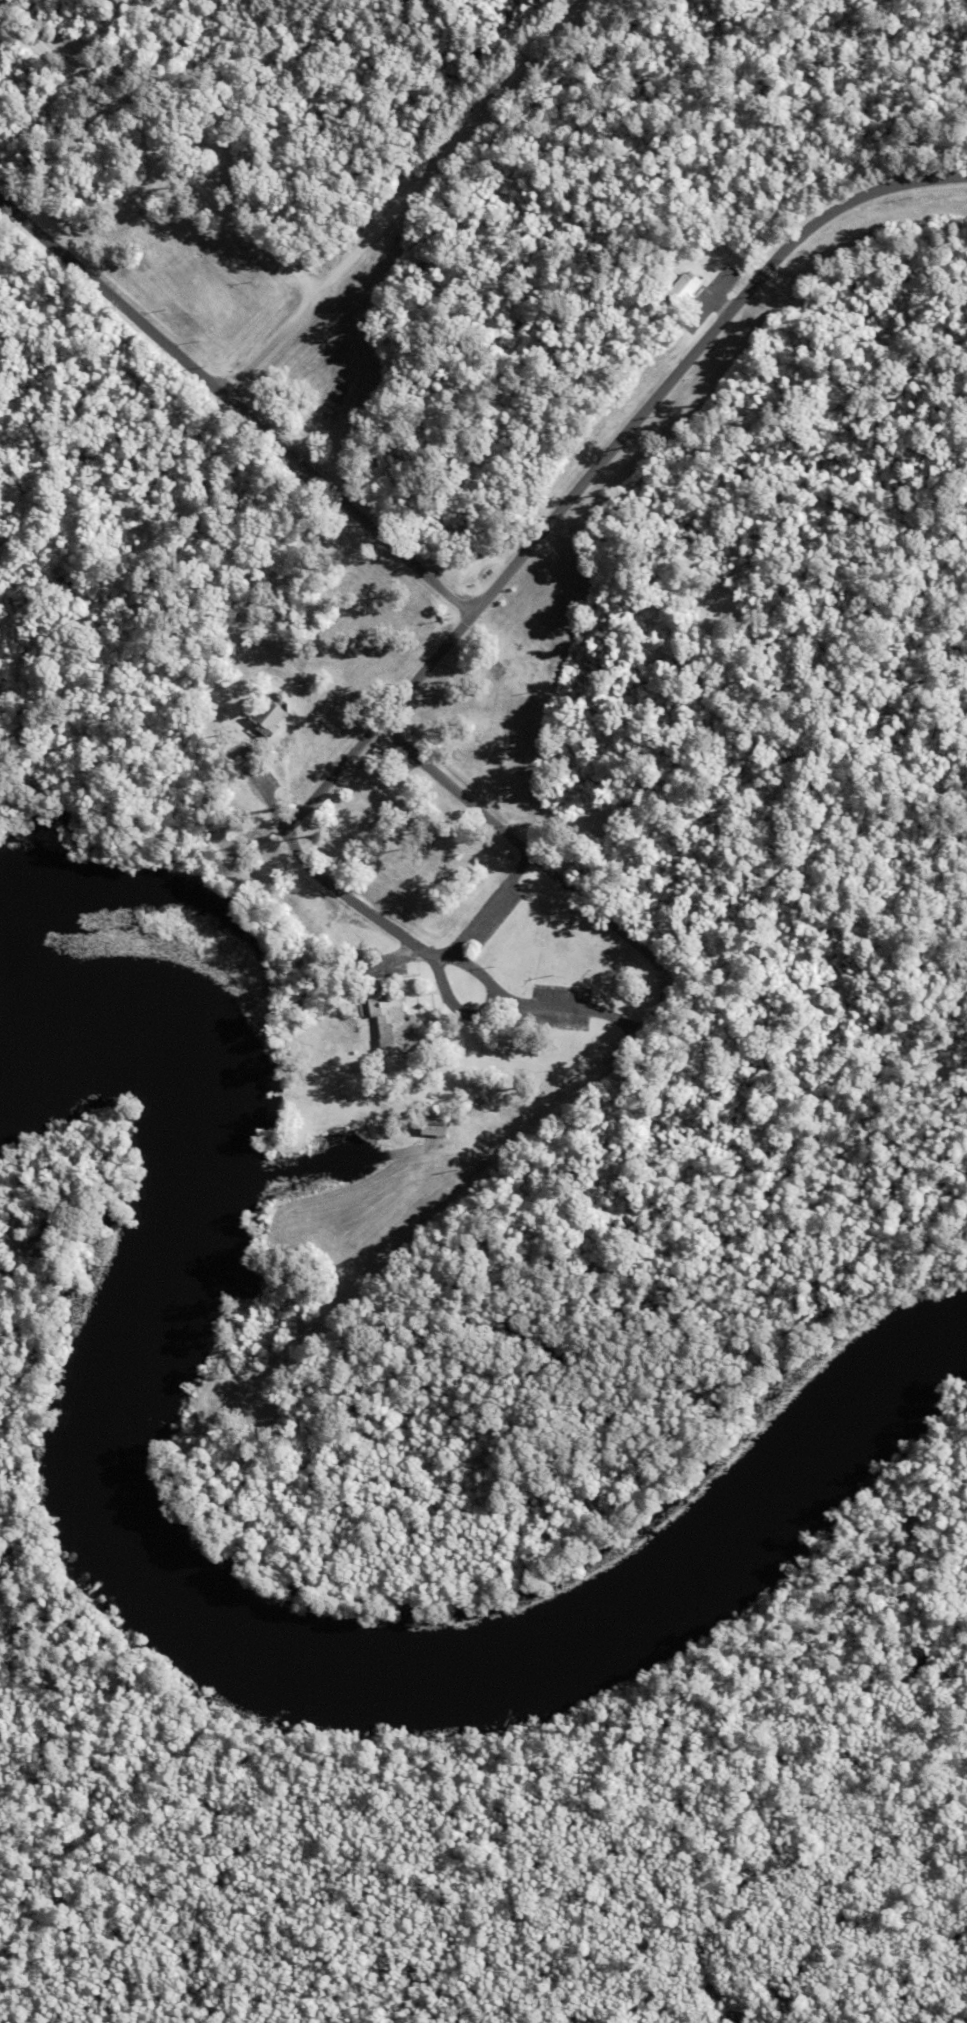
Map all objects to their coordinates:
road: (451, 148)
road: (159, 149)
building: (686, 287)
road: (271, 343)
road: (238, 402)
road: (644, 408)
building: (269, 717)
road: (334, 774)
building: (395, 1024)
building: (436, 1123)
road: (390, 1259)
building: (197, 1389)
river: (220, 1624)

